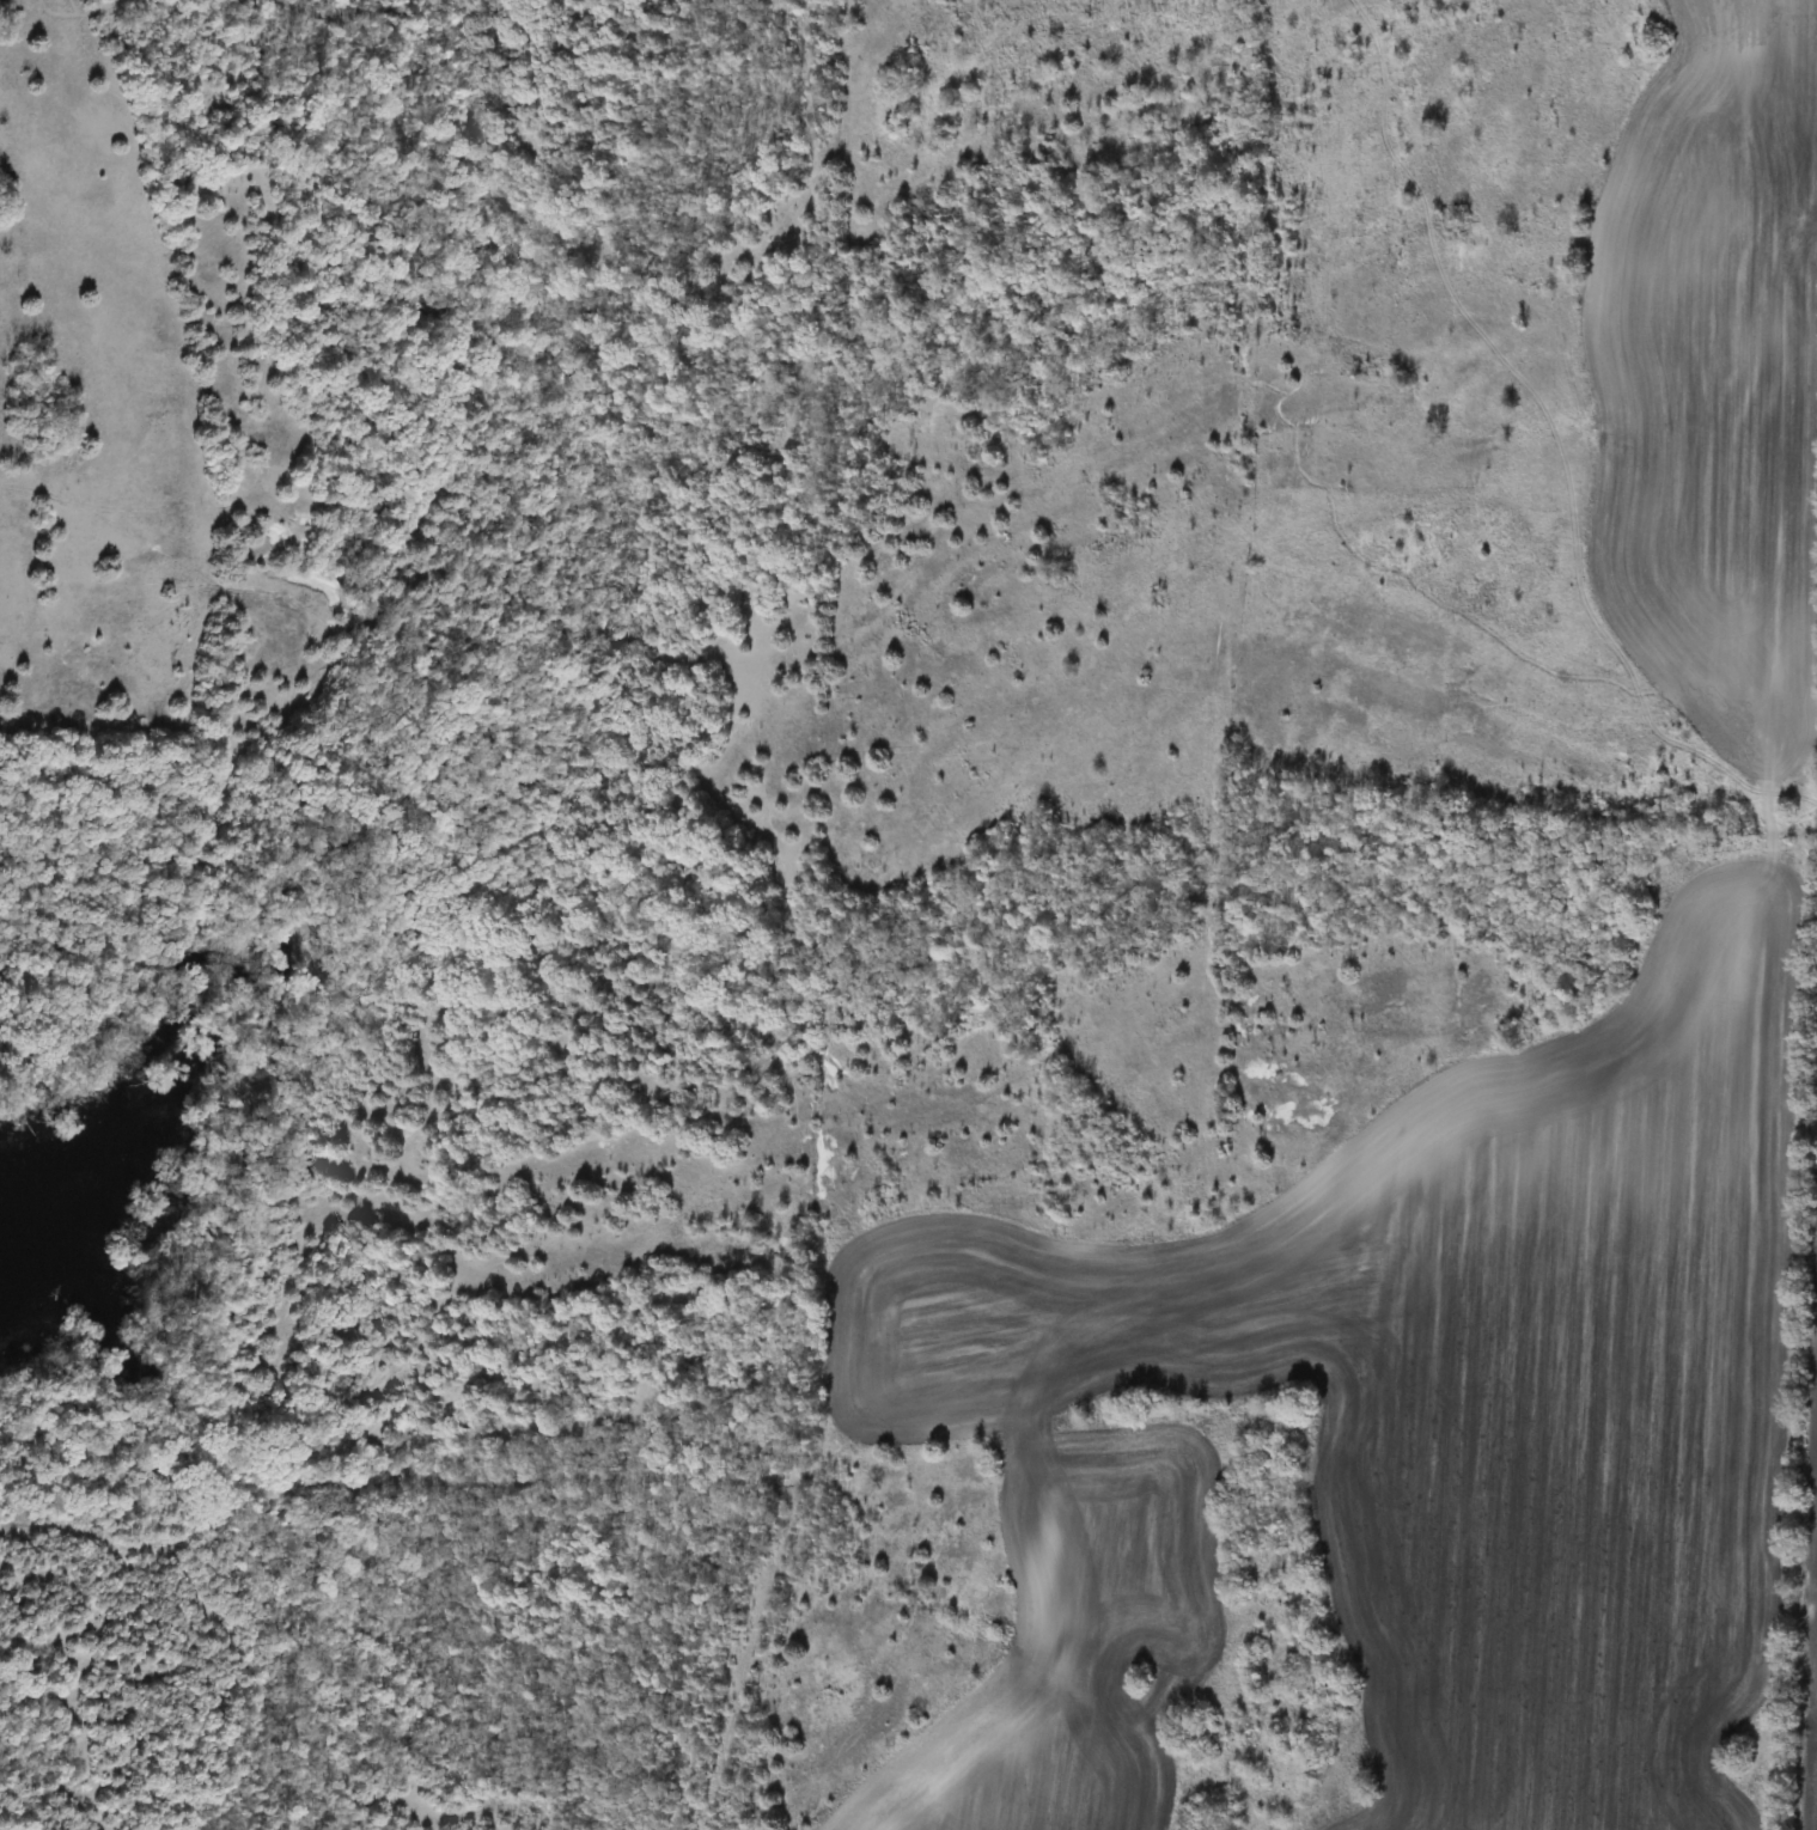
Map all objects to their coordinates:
building: (237, 475)

